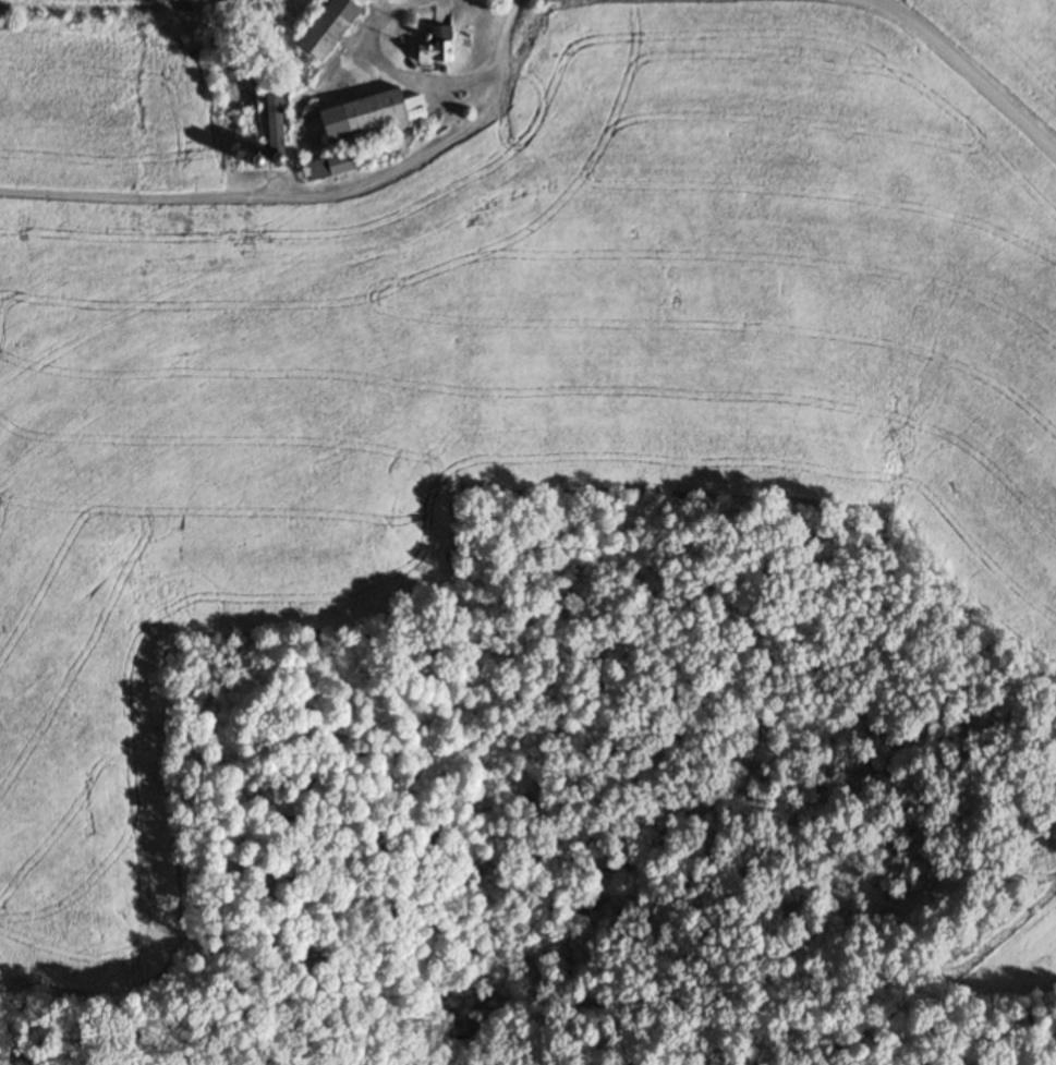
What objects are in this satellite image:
building: (386, 1)
building: (332, 31)
building: (436, 46)
road: (967, 69)
road: (427, 82)
building: (413, 110)
building: (362, 117)
building: (277, 120)
building: (333, 167)
road: (274, 195)

